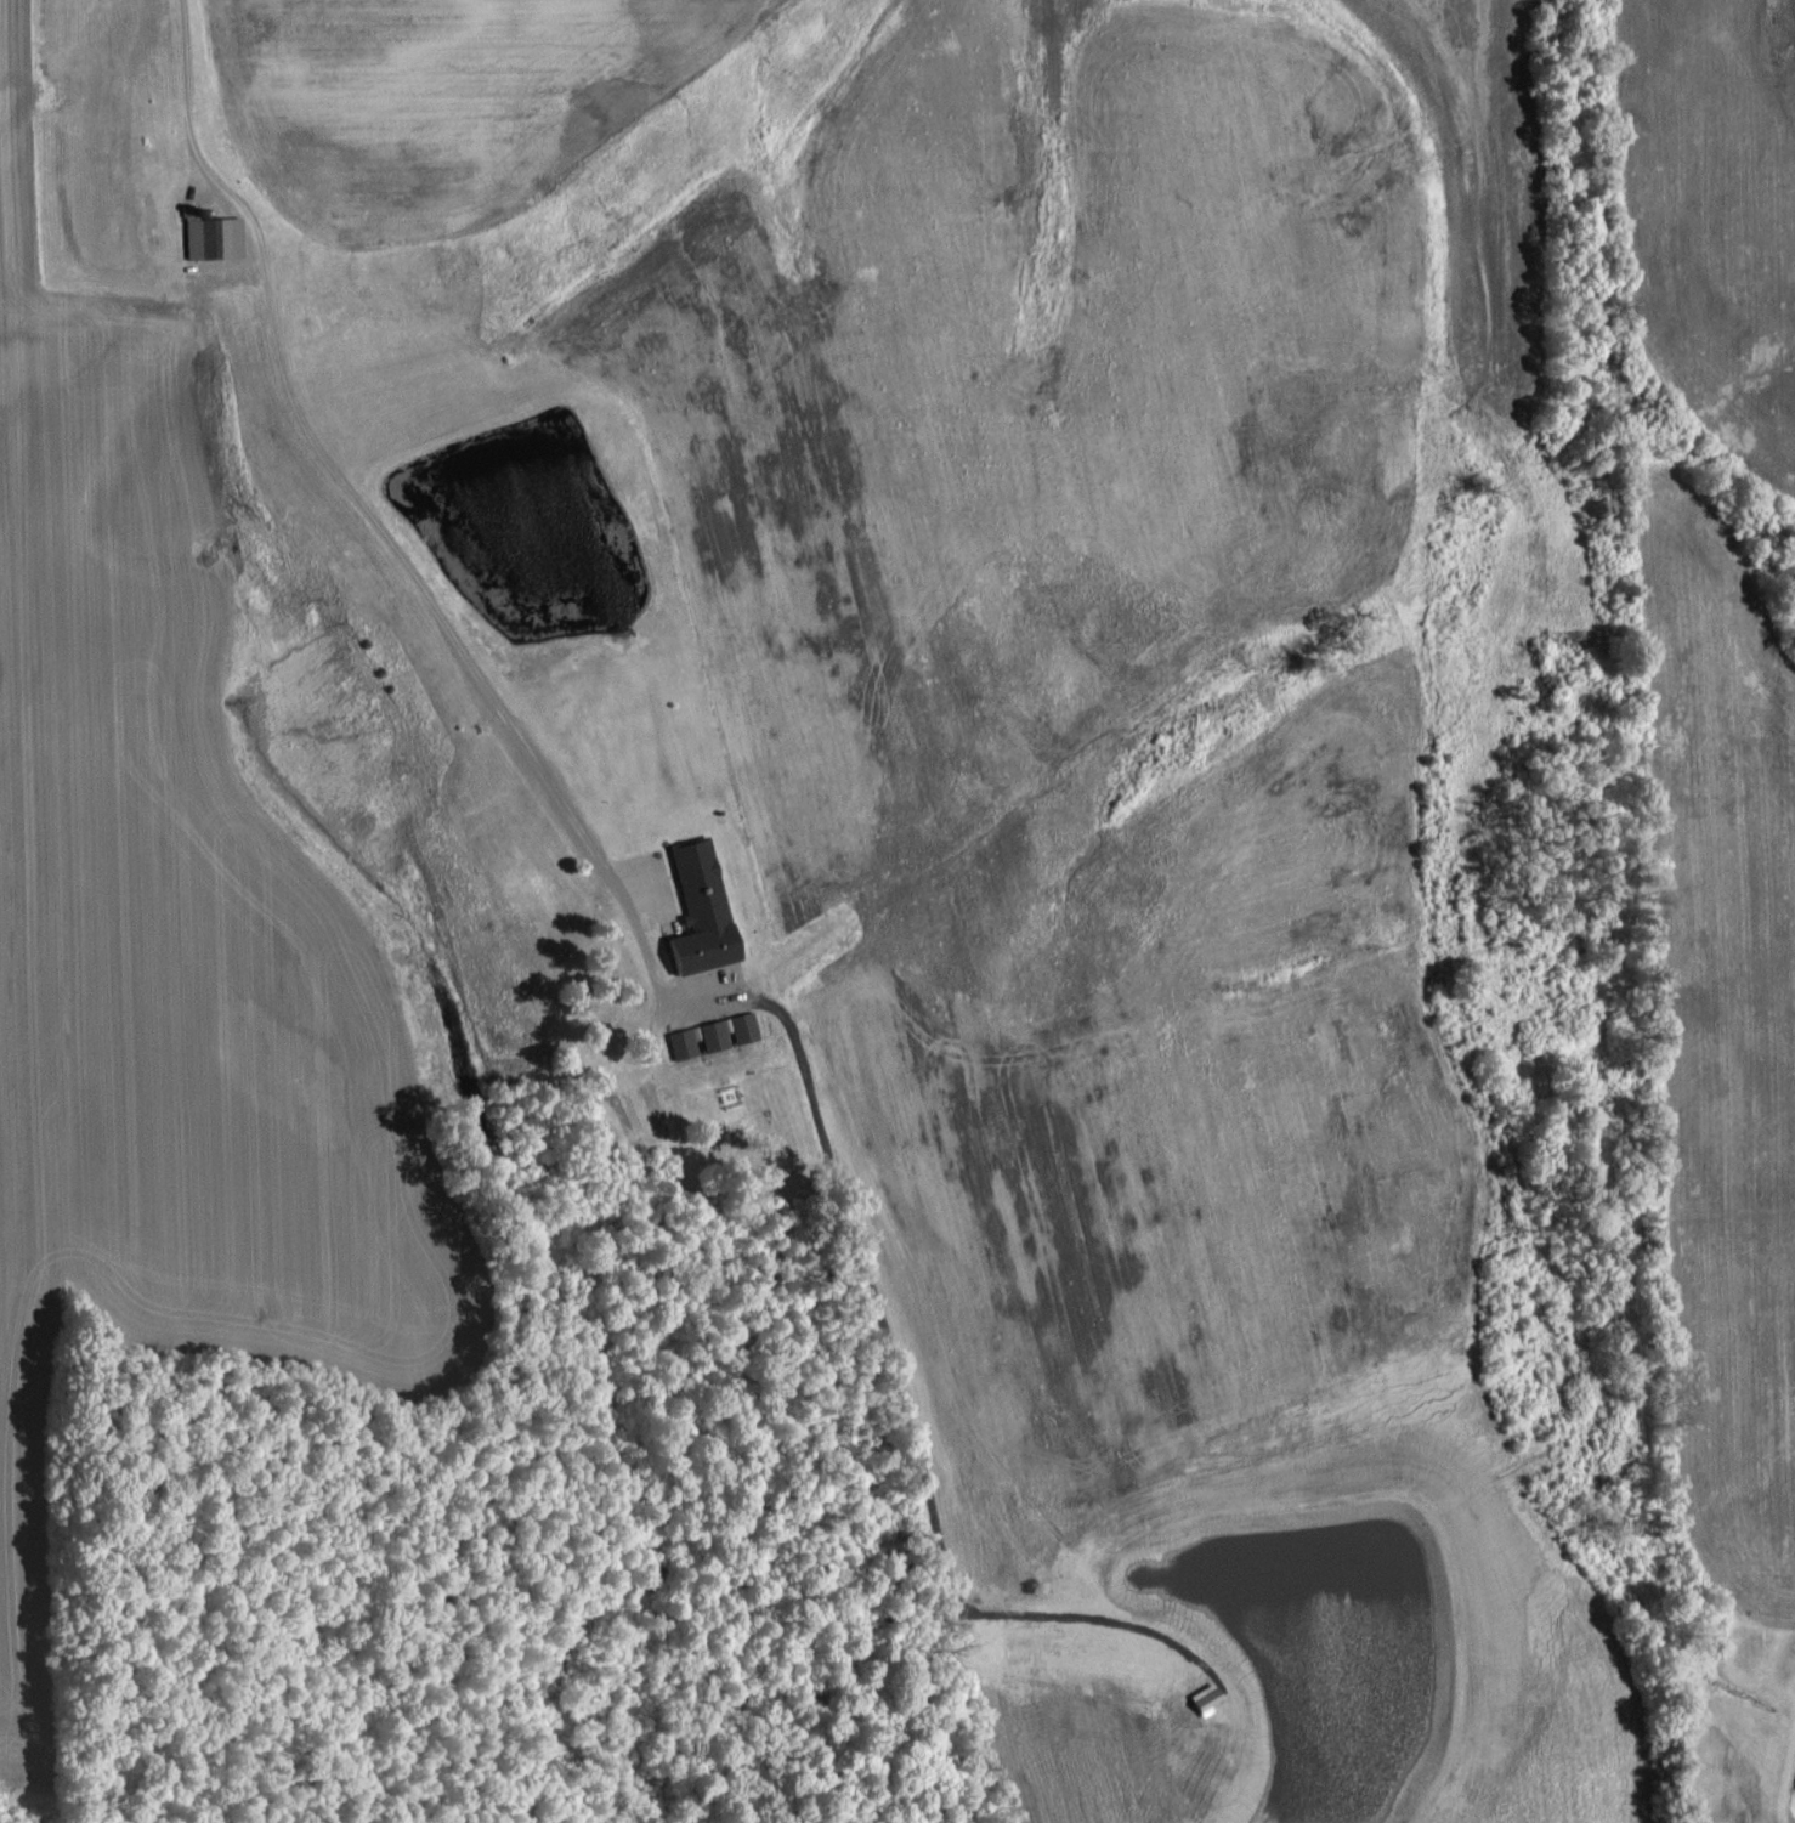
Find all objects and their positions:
road: (188, 85)
building: (209, 236)
building: (696, 910)
building: (738, 1025)

